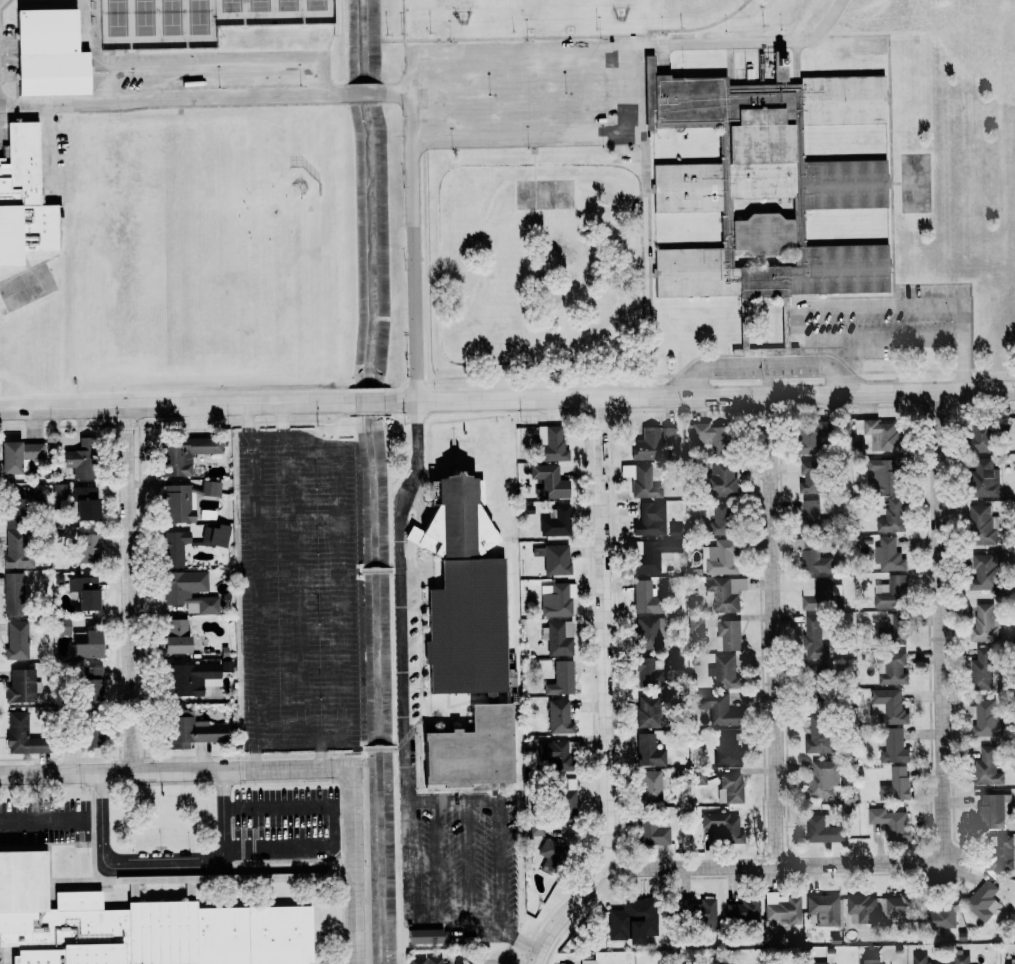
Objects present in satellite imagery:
park: (196, 19)
building: (318, 38)
building: (251, 42)
road: (463, 49)
building: (50, 50)
road: (399, 92)
parking lot: (524, 92)
road: (363, 93)
road: (169, 97)
building: (767, 182)
building: (24, 199)
road: (704, 395)
road: (375, 401)
road: (178, 405)
road: (284, 421)
building: (986, 434)
building: (876, 435)
building: (818, 437)
building: (653, 442)
building: (550, 444)
building: (185, 453)
building: (19, 455)
building: (81, 459)
building: (886, 475)
building: (813, 477)
building: (722, 478)
building: (984, 478)
building: (547, 481)
building: (641, 481)
building: (211, 488)
building: (59, 491)
building: (40, 492)
building: (85, 493)
building: (177, 504)
building: (15, 508)
building: (86, 510)
building: (811, 512)
building: (892, 516)
building: (651, 519)
building: (722, 519)
building: (555, 522)
building: (982, 525)
building: (675, 530)
building: (215, 536)
building: (15, 548)
building: (89, 548)
building: (174, 548)
building: (634, 548)
building: (655, 554)
building: (811, 555)
building: (888, 555)
building: (721, 557)
building: (554, 558)
road: (340, 559)
road: (375, 569)
building: (986, 571)
road: (259, 586)
road: (127, 589)
parking lot: (298, 590)
building: (85, 592)
building: (189, 592)
building: (726, 592)
building: (892, 592)
building: (14, 594)
building: (824, 595)
building: (645, 598)
building: (556, 600)
building: (984, 623)
building: (62, 626)
road: (938, 626)
building: (895, 627)
road: (771, 629)
building: (647, 633)
building: (466, 634)
building: (728, 634)
building: (176, 636)
building: (557, 637)
building: (78, 638)
building: (814, 638)
building: (16, 640)
building: (88, 646)
building: (891, 667)
building: (982, 668)
building: (643, 669)
building: (724, 671)
building: (191, 678)
building: (561, 678)
building: (90, 683)
building: (20, 685)
road: (602, 691)
building: (888, 707)
building: (719, 708)
building: (648, 711)
building: (559, 717)
building: (987, 719)
building: (192, 729)
road: (406, 730)
building: (818, 732)
building: (21, 734)
building: (87, 734)
road: (304, 736)
building: (729, 746)
building: (893, 746)
road: (380, 749)
building: (649, 750)
building: (554, 754)
building: (987, 767)
road: (176, 770)
building: (699, 777)
building: (823, 777)
building: (896, 783)
building: (650, 785)
building: (730, 788)
building: (565, 794)
road: (288, 804)
building: (992, 810)
road: (42, 822)
building: (891, 822)
building: (536, 826)
building: (722, 826)
building: (653, 830)
building: (822, 830)
road: (289, 845)
building: (551, 851)
building: (1000, 853)
road: (162, 861)
road: (773, 864)
road: (353, 865)
building: (309, 877)
building: (983, 900)
building: (782, 907)
building: (862, 908)
building: (823, 909)
building: (895, 909)
building: (698, 910)
building: (744, 910)
building: (132, 917)
building: (940, 918)
building: (633, 920)
building: (425, 936)
building: (869, 957)
building: (921, 959)
building: (961, 959)
building: (425, 960)
building: (458, 961)
building: (582, 961)
building: (1010, 961)
building: (818, 963)

